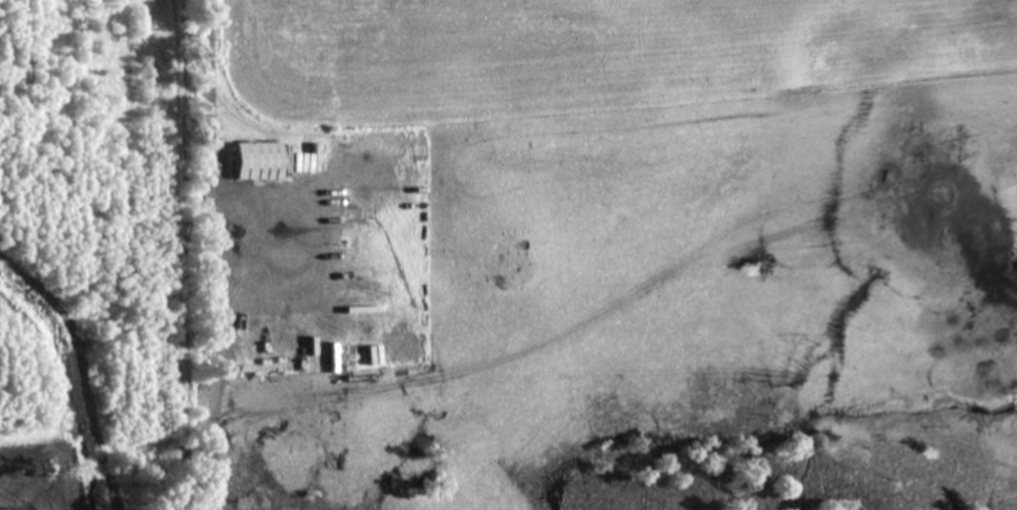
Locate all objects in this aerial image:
building: (253, 162)
road: (205, 255)

